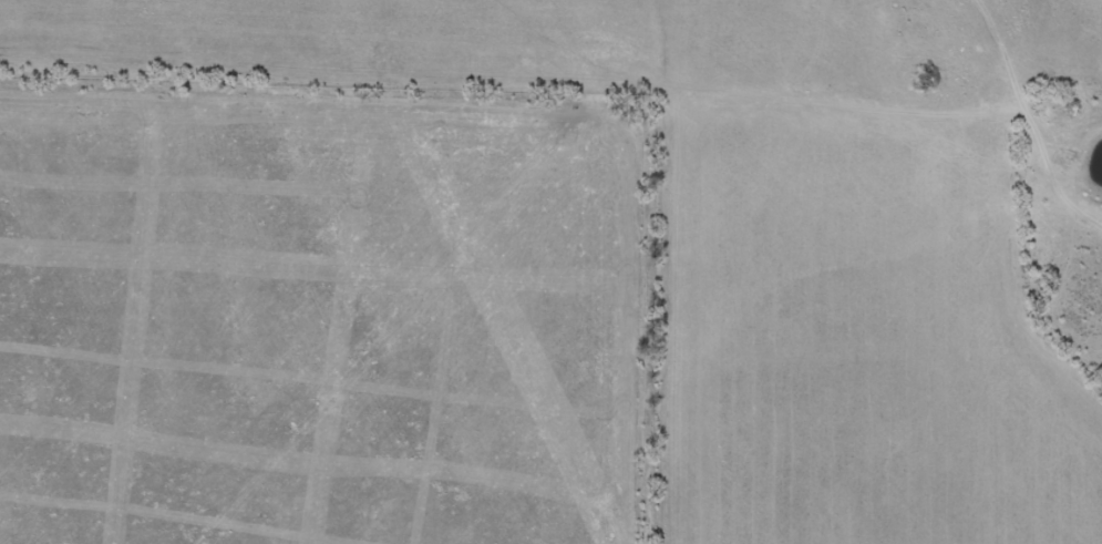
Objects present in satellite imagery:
road: (1100, 2)

